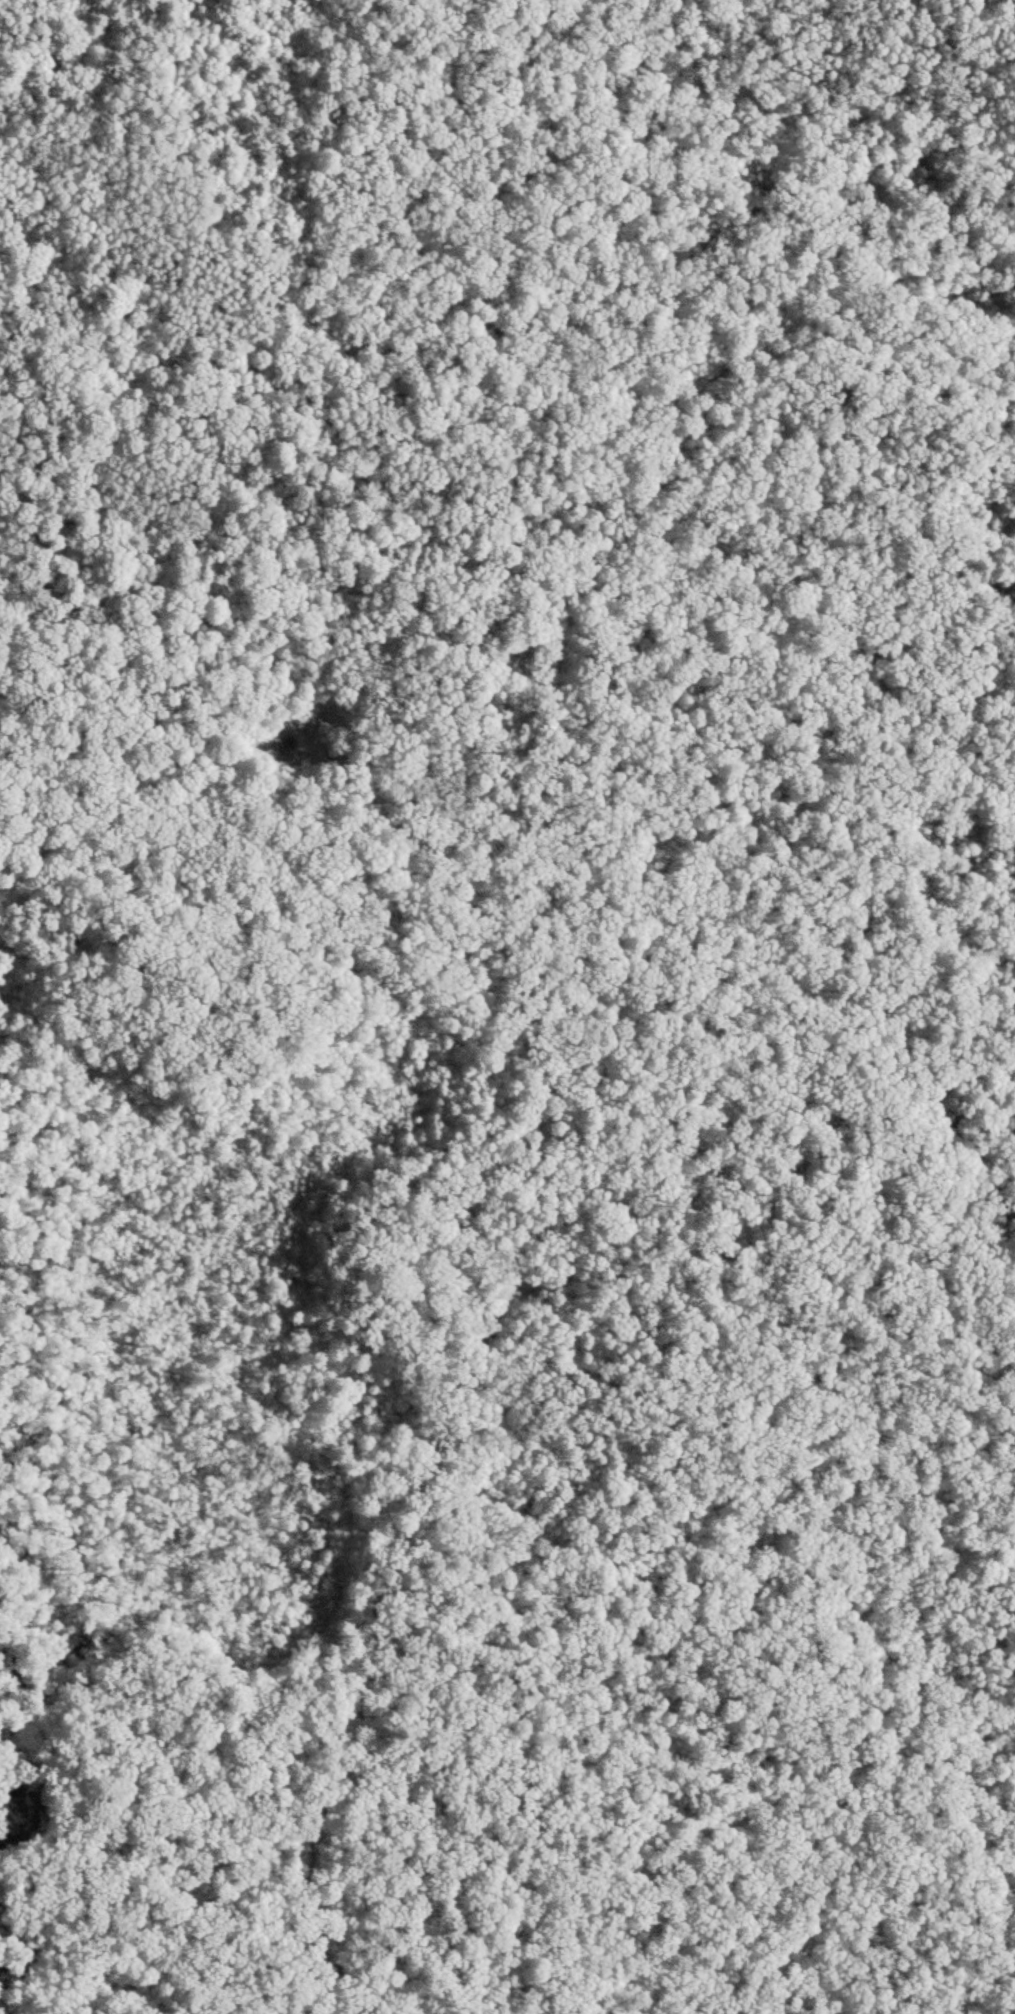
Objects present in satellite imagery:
road: (3, 5)
road: (8, 499)
road: (508, 1129)
road: (384, 1324)

